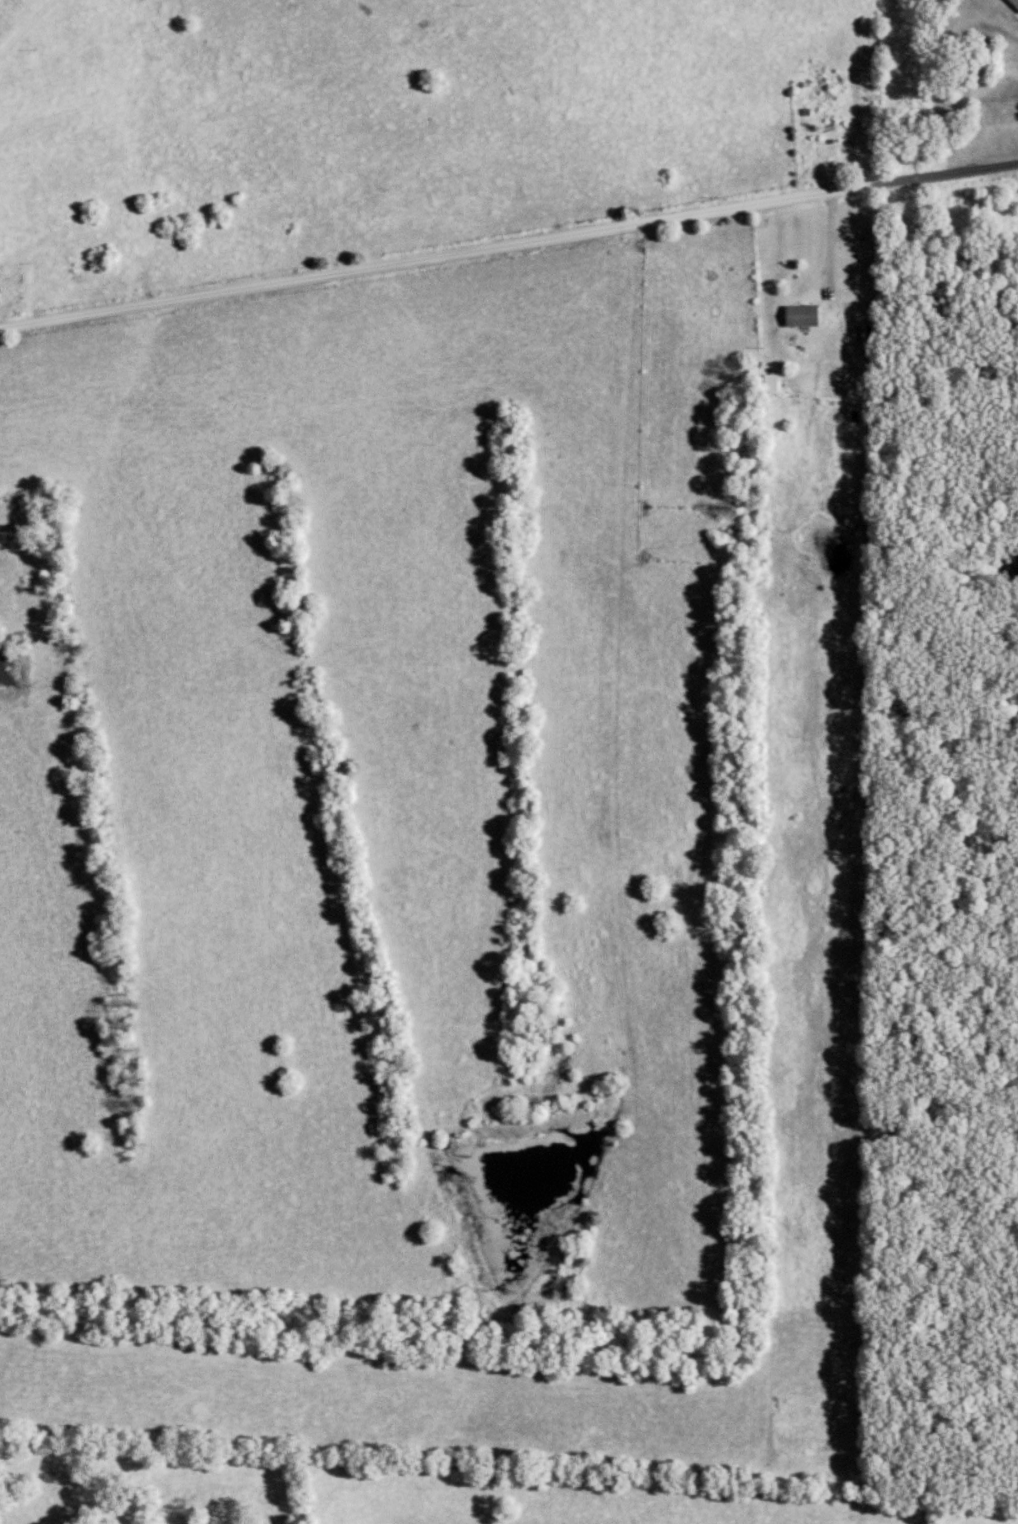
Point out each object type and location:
road: (852, 239)
road: (509, 246)
building: (0, 301)
building: (806, 314)

